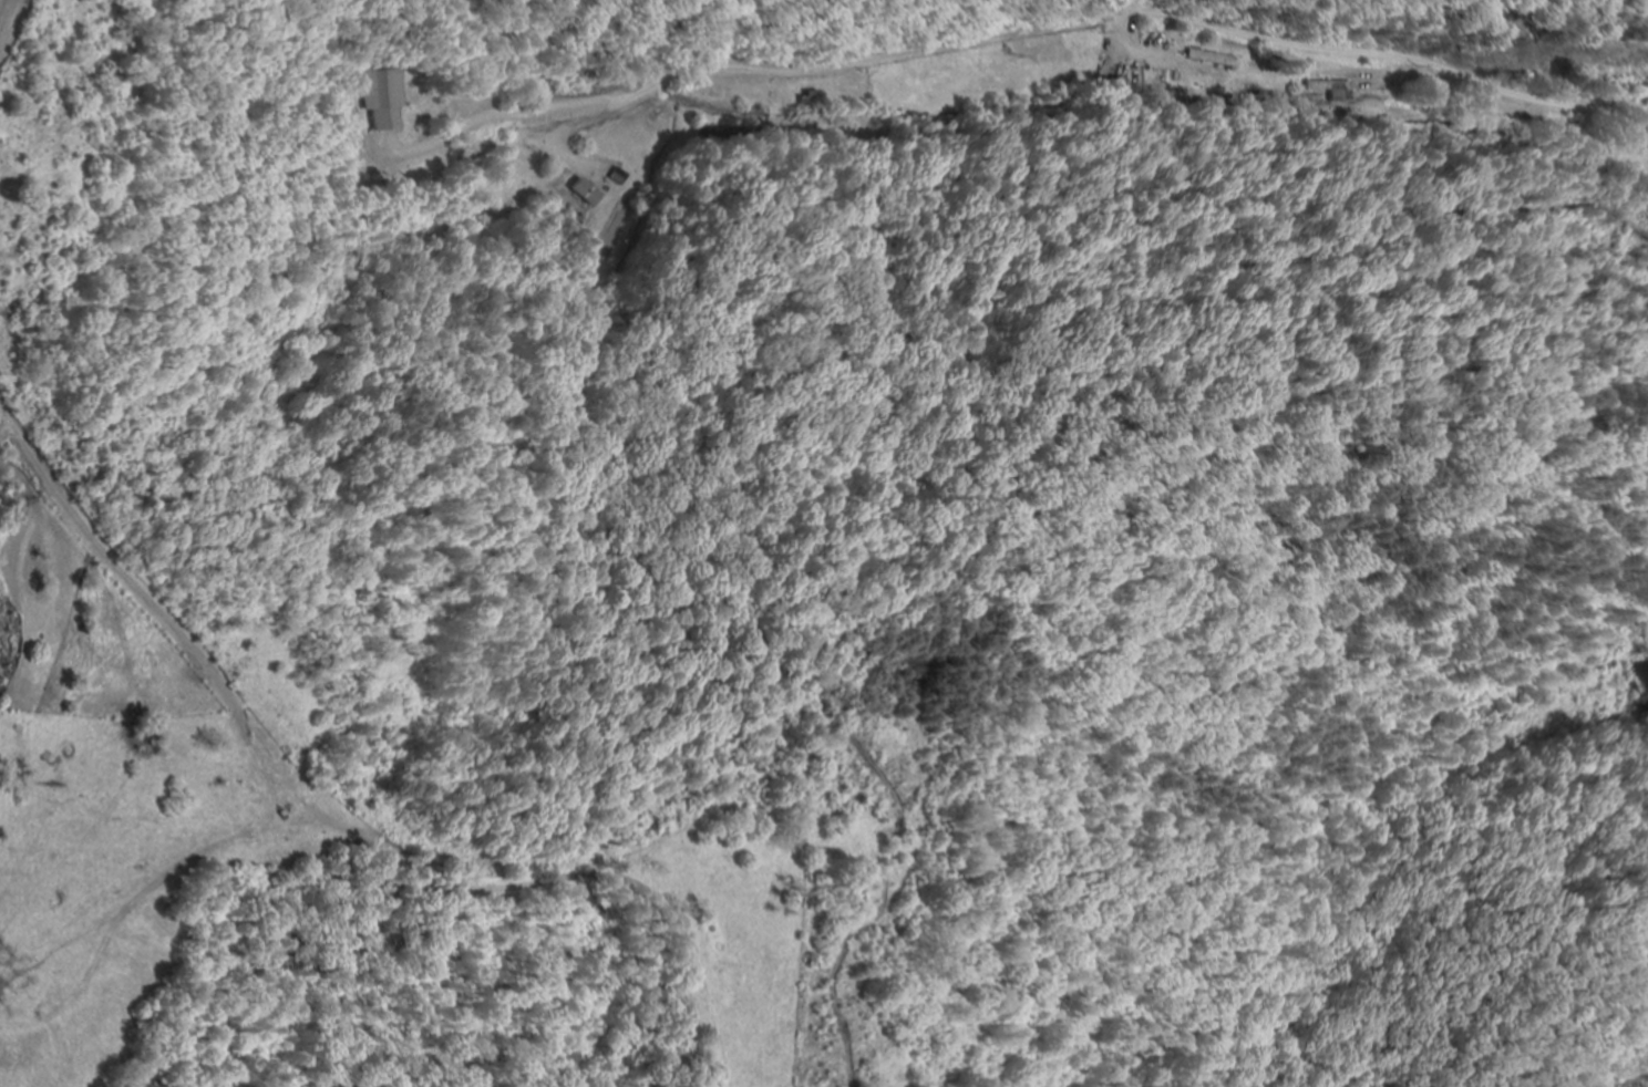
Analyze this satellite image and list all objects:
road: (1384, 58)
building: (380, 99)

